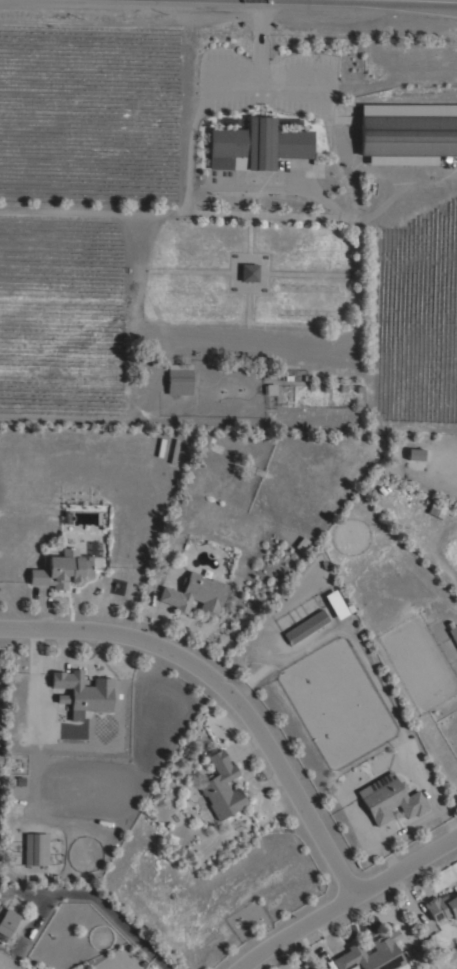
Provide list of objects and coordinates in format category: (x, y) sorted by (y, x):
road: (257, 41)
building: (407, 133)
road: (188, 139)
building: (255, 145)
road: (432, 173)
road: (263, 190)
building: (248, 272)
building: (178, 381)
building: (269, 389)
building: (414, 454)
building: (434, 510)
building: (60, 570)
building: (194, 594)
building: (337, 605)
building: (305, 627)
building: (452, 632)
building: (83, 691)
road: (224, 691)
building: (220, 787)
building: (390, 801)
building: (35, 849)
road: (348, 899)
building: (440, 907)
building: (7, 922)
building: (370, 955)

